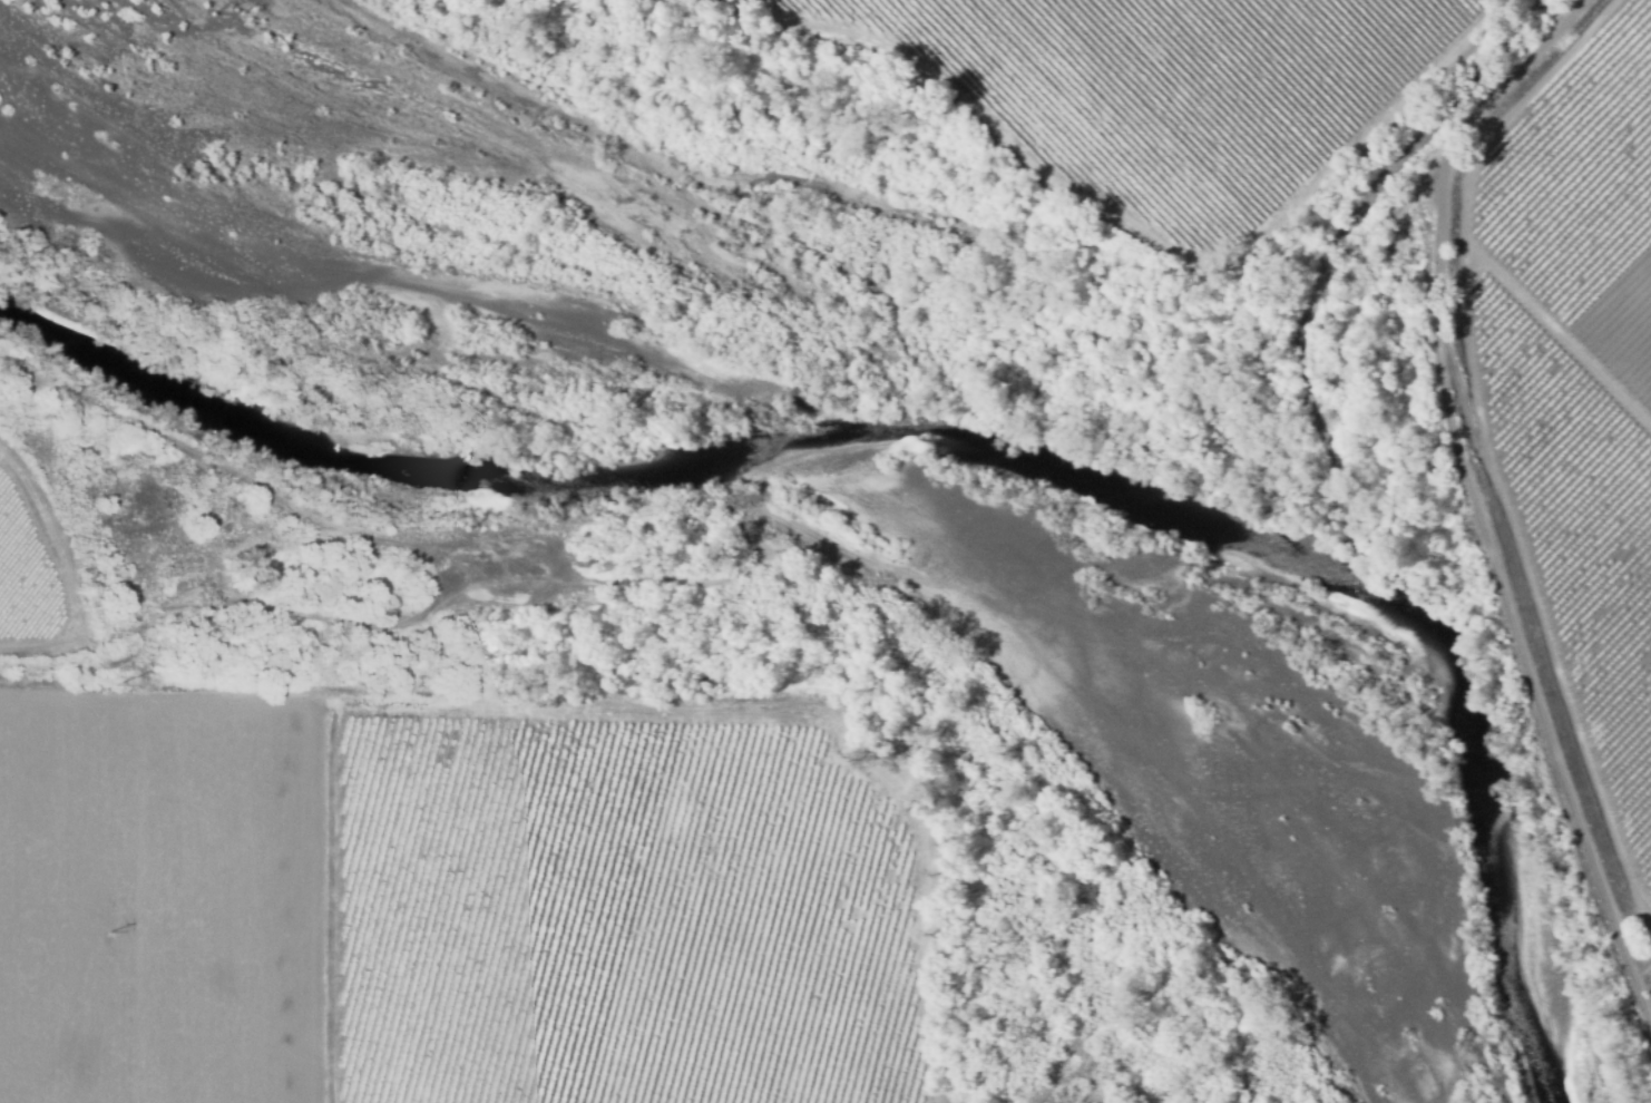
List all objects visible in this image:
river: (957, 438)
road: (820, 520)
road: (56, 537)
road: (40, 641)

